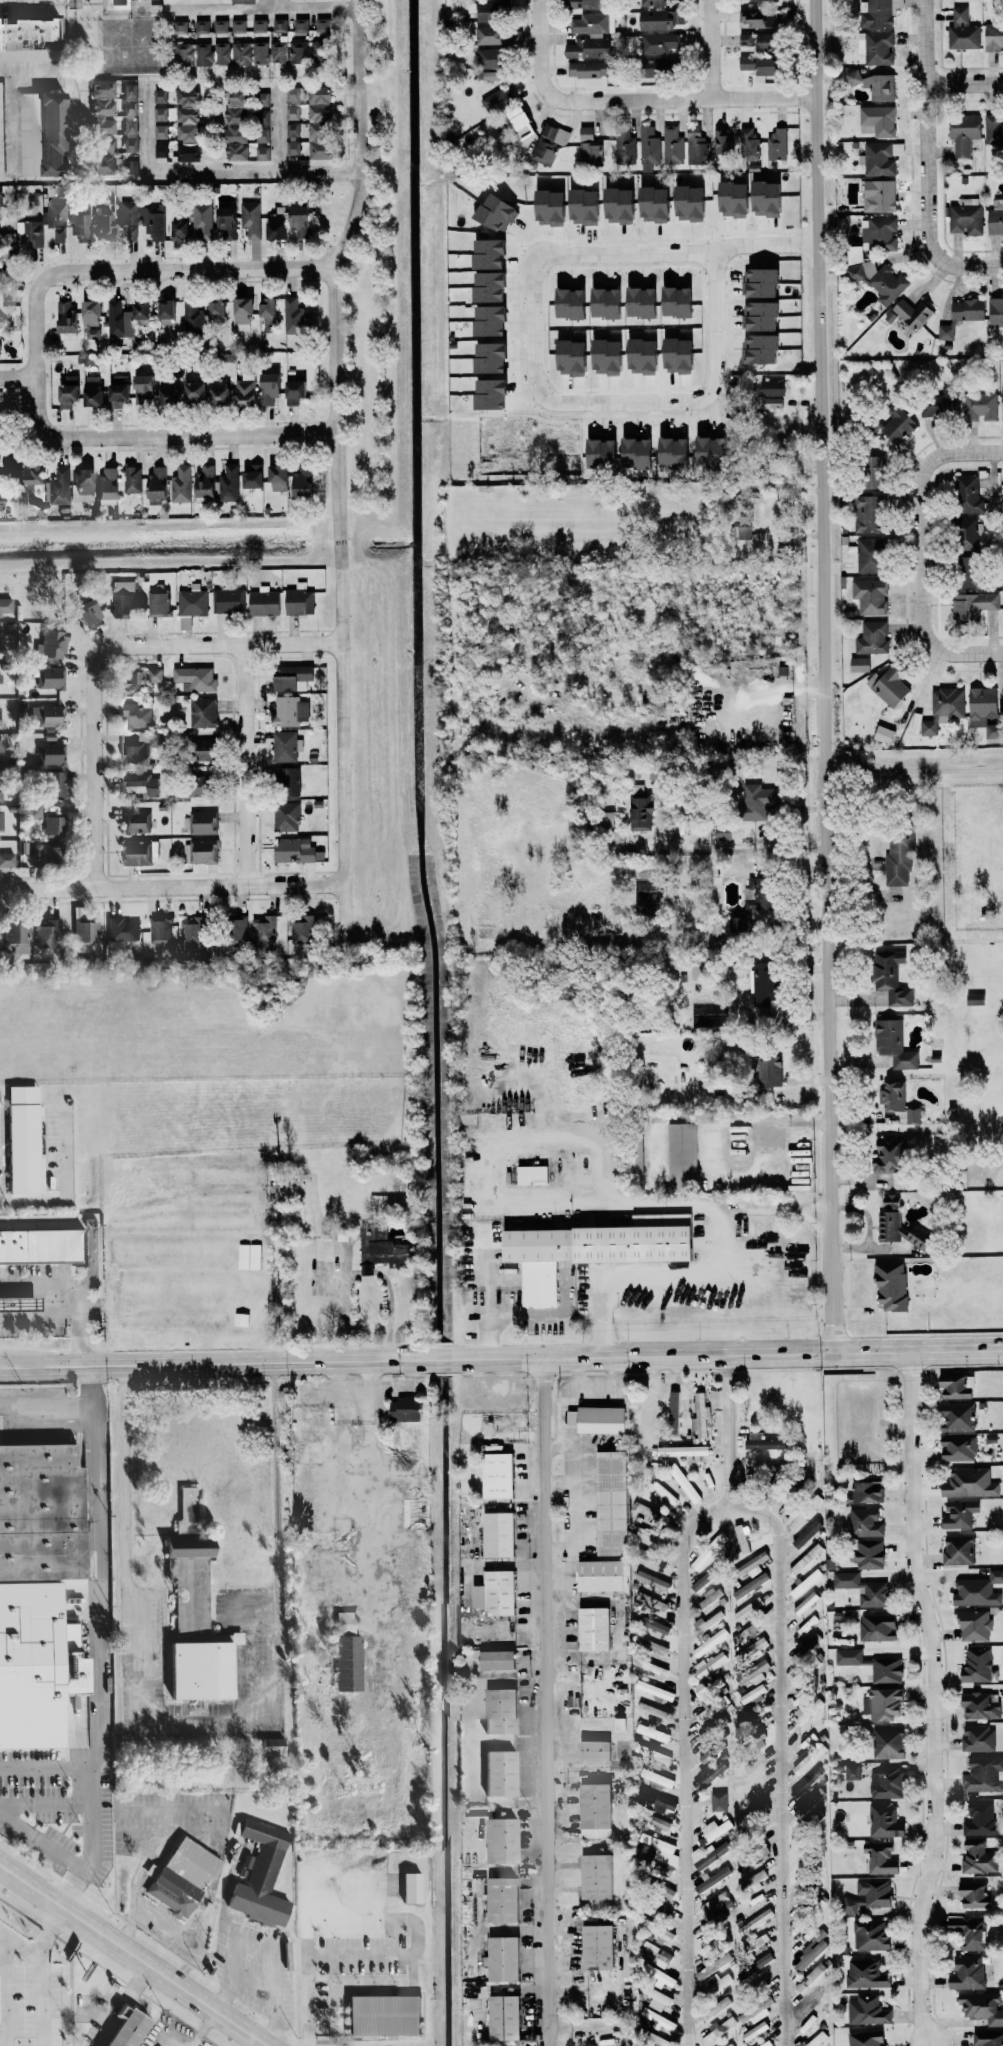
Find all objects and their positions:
building: (244, 1)
building: (653, 2)
building: (585, 3)
road: (275, 5)
road: (267, 10)
building: (494, 10)
building: (877, 12)
building: (759, 17)
building: (661, 19)
building: (591, 22)
building: (301, 24)
building: (202, 25)
building: (222, 25)
building: (239, 25)
building: (259, 25)
building: (281, 25)
building: (181, 26)
building: (323, 27)
building: (964, 30)
building: (501, 35)
building: (994, 37)
building: (29, 38)
building: (761, 40)
building: (661, 42)
road: (924, 42)
building: (877, 47)
road: (537, 48)
building: (590, 48)
building: (279, 51)
building: (307, 51)
road: (712, 51)
building: (223, 52)
building: (244, 52)
building: (262, 52)
building: (206, 53)
building: (187, 54)
building: (493, 57)
building: (762, 64)
road: (25, 68)
building: (592, 68)
road: (964, 83)
building: (876, 84)
building: (104, 87)
building: (131, 89)
building: (293, 93)
building: (320, 93)
building: (161, 95)
building: (263, 99)
building: (498, 101)
road: (679, 102)
building: (238, 106)
building: (131, 107)
building: (320, 111)
building: (293, 112)
building: (162, 113)
building: (105, 115)
road: (14, 116)
building: (263, 116)
building: (879, 120)
building: (524, 122)
building: (189, 124)
building: (131, 126)
building: (2, 129)
road: (147, 129)
building: (293, 129)
building: (994, 129)
road: (280, 131)
building: (966, 132)
building: (45, 133)
building: (237, 133)
building: (264, 135)
building: (320, 139)
building: (161, 140)
building: (723, 141)
building: (750, 141)
building: (550, 142)
building: (132, 144)
building: (673, 144)
building: (778, 144)
building: (697, 145)
building: (294, 147)
building: (590, 147)
building: (626, 147)
building: (649, 148)
building: (239, 151)
building: (264, 152)
building: (107, 156)
building: (879, 158)
building: (132, 166)
road: (239, 173)
building: (878, 196)
building: (738, 197)
building: (770, 197)
building: (0, 199)
building: (694, 202)
building: (659, 203)
building: (624, 204)
building: (572, 206)
road: (927, 206)
building: (130, 211)
building: (500, 211)
building: (997, 217)
building: (252, 218)
building: (968, 218)
building: (204, 219)
building: (303, 220)
building: (156, 222)
building: (229, 222)
building: (279, 222)
building: (47, 224)
building: (106, 226)
building: (82, 227)
building: (181, 227)
building: (132, 232)
building: (494, 253)
building: (864, 261)
road: (136, 270)
building: (0, 271)
building: (767, 282)
building: (492, 286)
building: (0, 295)
building: (682, 300)
building: (609, 301)
building: (647, 301)
building: (576, 303)
building: (169, 309)
building: (143, 310)
building: (220, 310)
building: (245, 312)
building: (915, 312)
building: (271, 314)
building: (295, 315)
building: (766, 315)
building: (964, 315)
building: (997, 315)
building: (67, 317)
building: (196, 317)
building: (117, 318)
building: (494, 320)
road: (530, 347)
building: (0, 348)
building: (763, 348)
building: (682, 354)
building: (647, 355)
building: (495, 356)
building: (577, 356)
building: (611, 356)
road: (17, 379)
building: (1002, 386)
building: (272, 387)
building: (774, 387)
building: (121, 390)
building: (146, 390)
building: (198, 390)
building: (70, 391)
building: (95, 391)
building: (297, 391)
building: (171, 392)
building: (222, 392)
building: (247, 392)
building: (495, 393)
building: (774, 402)
building: (940, 403)
building: (981, 406)
building: (901, 424)
road: (159, 436)
building: (716, 449)
building: (678, 451)
building: (607, 452)
building: (641, 452)
building: (0, 457)
road: (335, 465)
road: (923, 467)
building: (879, 471)
building: (36, 472)
building: (256, 475)
building: (280, 475)
building: (133, 478)
building: (306, 480)
building: (1, 481)
building: (207, 481)
building: (159, 482)
building: (231, 482)
building: (84, 484)
building: (183, 484)
building: (110, 485)
building: (61, 486)
building: (968, 493)
building: (2, 506)
building: (870, 513)
building: (968, 531)
building: (746, 532)
building: (972, 573)
building: (871, 595)
building: (125, 598)
building: (301, 599)
building: (230, 600)
building: (160, 602)
building: (266, 602)
building: (6, 605)
building: (975, 607)
building: (91, 612)
road: (924, 635)
building: (874, 637)
building: (53, 644)
road: (218, 644)
building: (861, 664)
building: (1, 675)
building: (156, 675)
building: (297, 676)
road: (820, 676)
building: (52, 677)
building: (197, 677)
road: (653, 679)
building: (134, 680)
building: (891, 684)
building: (945, 708)
building: (985, 708)
building: (292, 710)
building: (204, 711)
building: (53, 715)
building: (138, 715)
road: (647, 733)
building: (886, 734)
building: (144, 735)
building: (287, 746)
building: (1, 748)
building: (205, 750)
building: (135, 751)
building: (53, 753)
road: (245, 766)
road: (912, 767)
road: (95, 769)
building: (289, 780)
building: (57, 785)
building: (142, 785)
building: (1, 787)
building: (201, 789)
building: (762, 802)
building: (36, 810)
building: (642, 812)
building: (288, 816)
building: (2, 819)
building: (609, 820)
building: (137, 821)
building: (204, 822)
building: (56, 825)
building: (724, 832)
building: (296, 850)
road: (716, 850)
building: (201, 851)
building: (138, 852)
building: (49, 854)
building: (7, 859)
building: (902, 861)
road: (172, 888)
building: (762, 893)
building: (739, 925)
building: (85, 928)
building: (123, 928)
building: (304, 928)
building: (265, 930)
building: (239, 931)
building: (48, 933)
building: (161, 933)
building: (194, 933)
building: (18, 936)
helipad: (449, 963)
building: (893, 977)
building: (763, 990)
building: (978, 999)
road: (865, 1002)
building: (896, 1044)
road: (860, 1067)
road: (492, 1068)
building: (774, 1072)
building: (894, 1094)
building: (915, 1115)
road: (865, 1121)
building: (26, 1138)
road: (779, 1140)
building: (684, 1154)
building: (892, 1154)
building: (535, 1173)
road: (67, 1191)
road: (728, 1205)
building: (891, 1218)
building: (920, 1236)
building: (43, 1245)
building: (383, 1246)
building: (591, 1250)
building: (249, 1255)
building: (370, 1267)
building: (444, 1275)
building: (894, 1285)
road: (669, 1286)
road: (72, 1292)
building: (29, 1302)
building: (40, 1302)
building: (2, 1303)
building: (444, 1306)
road: (38, 1315)
building: (243, 1318)
road: (918, 1351)
road: (416, 1360)
building: (955, 1386)
road: (48, 1405)
building: (675, 1406)
building: (408, 1407)
building: (702, 1414)
building: (958, 1416)
building: (600, 1418)
road: (729, 1431)
building: (762, 1441)
building: (959, 1447)
building: (686, 1451)
building: (411, 1456)
building: (500, 1474)
building: (971, 1482)
building: (685, 1483)
building: (867, 1491)
road: (369, 1501)
building: (613, 1502)
road: (733, 1508)
building: (413, 1512)
building: (961, 1513)
building: (867, 1521)
building: (501, 1534)
building: (960, 1549)
building: (704, 1553)
building: (870, 1553)
building: (757, 1562)
building: (192, 1568)
building: (604, 1574)
building: (41, 1575)
building: (708, 1575)
building: (654, 1580)
building: (753, 1584)
building: (864, 1588)
building: (980, 1590)
building: (498, 1592)
building: (811, 1598)
building: (751, 1608)
building: (707, 1621)
building: (977, 1624)
building: (880, 1626)
building: (597, 1627)
building: (746, 1636)
road: (101, 1641)
building: (711, 1641)
building: (659, 1647)
building: (350, 1651)
building: (500, 1658)
building: (710, 1663)
building: (873, 1665)
building: (979, 1665)
building: (208, 1667)
building: (652, 1667)
building: (656, 1690)
building: (760, 1691)
road: (932, 1699)
road: (545, 1702)
building: (886, 1703)
building: (981, 1705)
building: (504, 1710)
building: (654, 1713)
road: (210, 1719)
building: (718, 1729)
building: (656, 1733)
building: (980, 1738)
building: (889, 1742)
building: (275, 1745)
building: (597, 1749)
building: (806, 1759)
road: (46, 1766)
building: (854, 1770)
building: (504, 1772)
building: (985, 1774)
building: (889, 1782)
building: (808, 1784)
building: (656, 1799)
building: (720, 1800)
road: (45, 1802)
building: (598, 1810)
building: (759, 1810)
building: (984, 1818)
building: (886, 1820)
building: (660, 1821)
building: (505, 1840)
road: (42, 1842)
building: (659, 1842)
building: (979, 1857)
building: (883, 1858)
building: (658, 1864)
building: (186, 1876)
building: (264, 1876)
building: (600, 1876)
building: (415, 1887)
road: (133, 1888)
building: (976, 1894)
building: (871, 1896)
building: (505, 1899)
building: (767, 1914)
road: (232, 1918)
road: (162, 1930)
building: (659, 1930)
building: (971, 1931)
building: (872, 1934)
road: (198, 1944)
road: (19, 1946)
building: (600, 1946)
building: (658, 1951)
building: (811, 1952)
road: (332, 1954)
road: (133, 1955)
building: (505, 1959)
building: (818, 1969)
building: (969, 1972)
road: (39, 1974)
building: (868, 1974)
building: (717, 1981)
road: (2, 1990)
road: (222, 1997)
building: (808, 2002)
building: (0, 2005)
building: (983, 2006)
building: (869, 2010)
building: (388, 2015)
building: (507, 2017)
building: (131, 2027)
building: (756, 2031)
road: (278, 2033)
building: (868, 2037)
building: (816, 2038)
building: (988, 2038)
building: (768, 2043)

